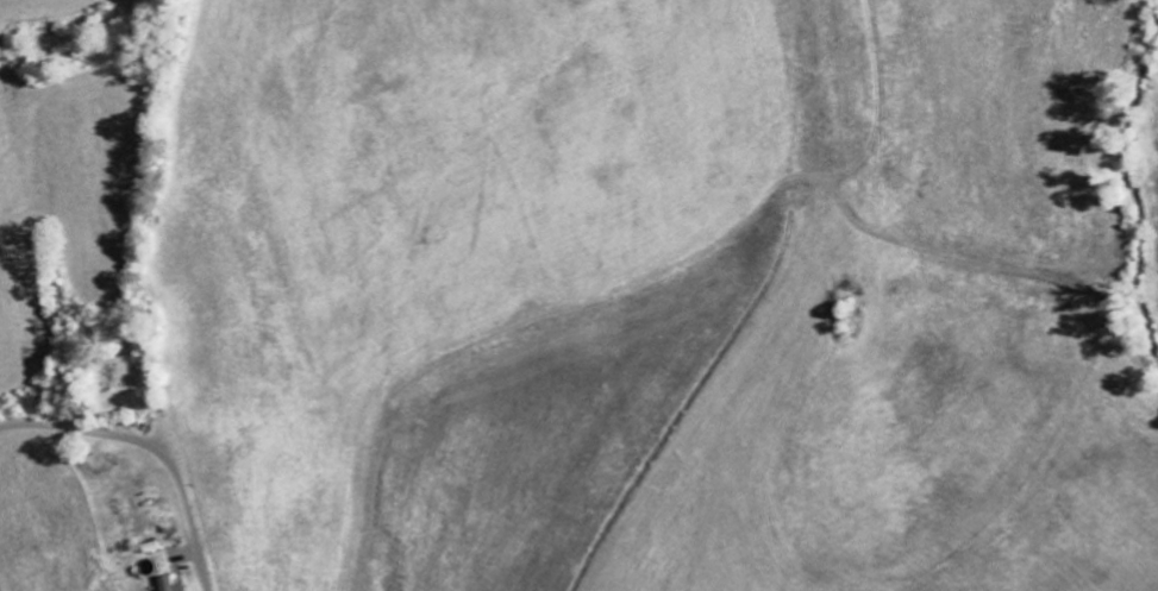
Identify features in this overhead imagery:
building: (173, 584)

